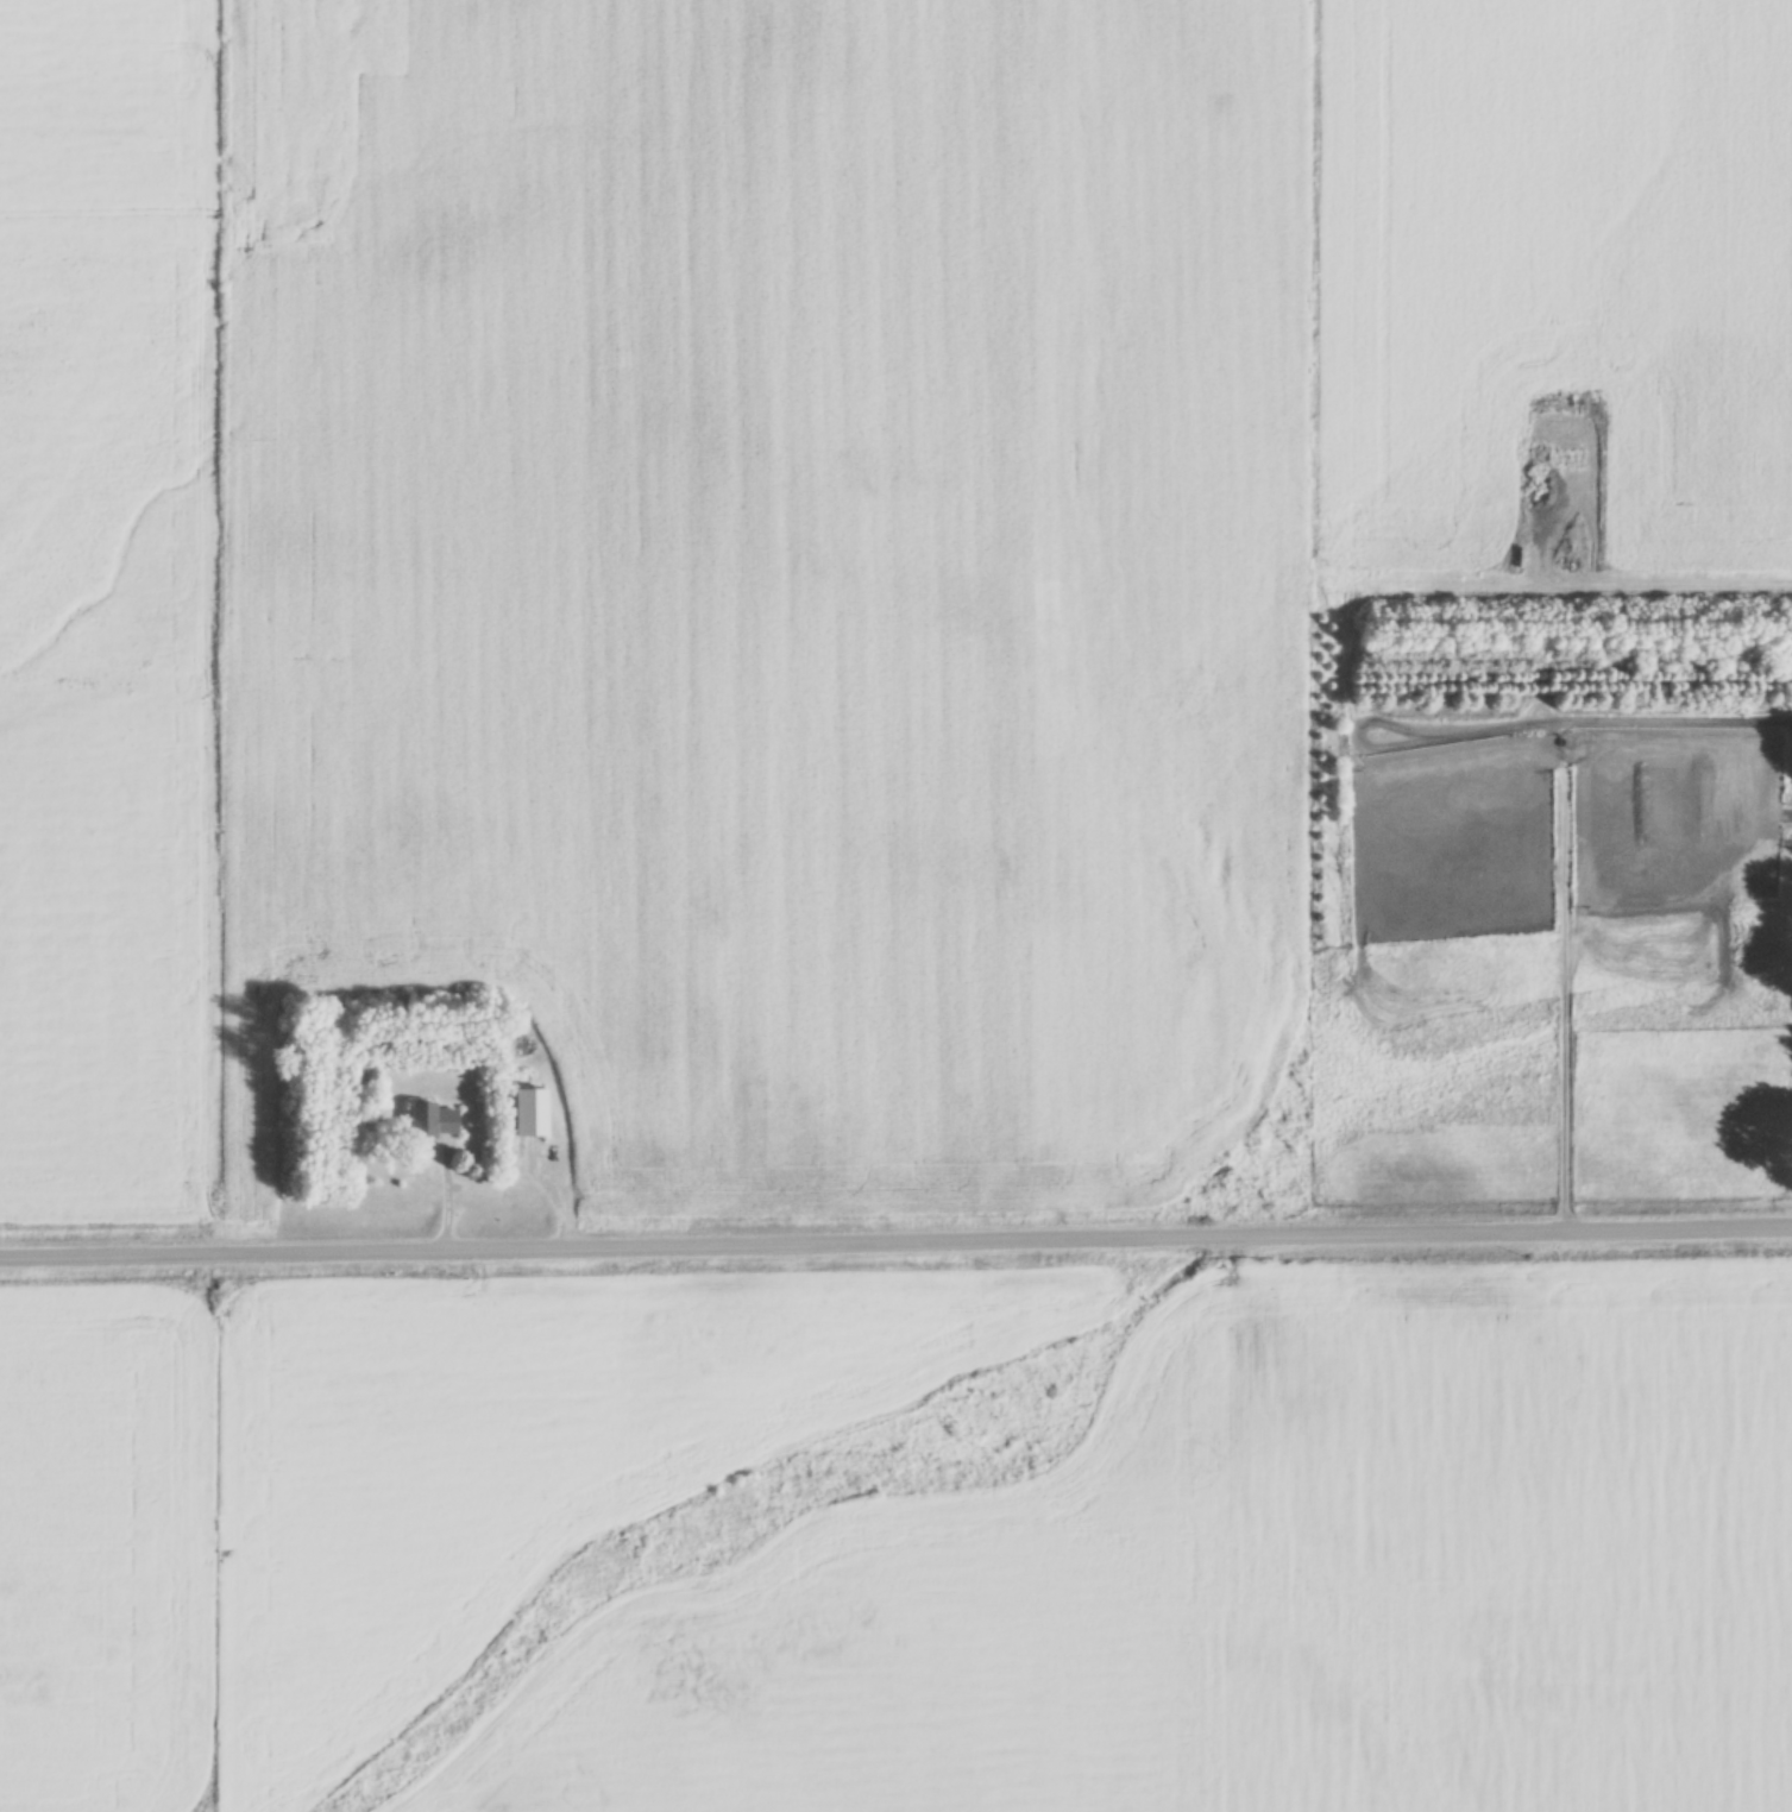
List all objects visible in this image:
building: (533, 1115)
building: (434, 1124)
road: (895, 1242)

